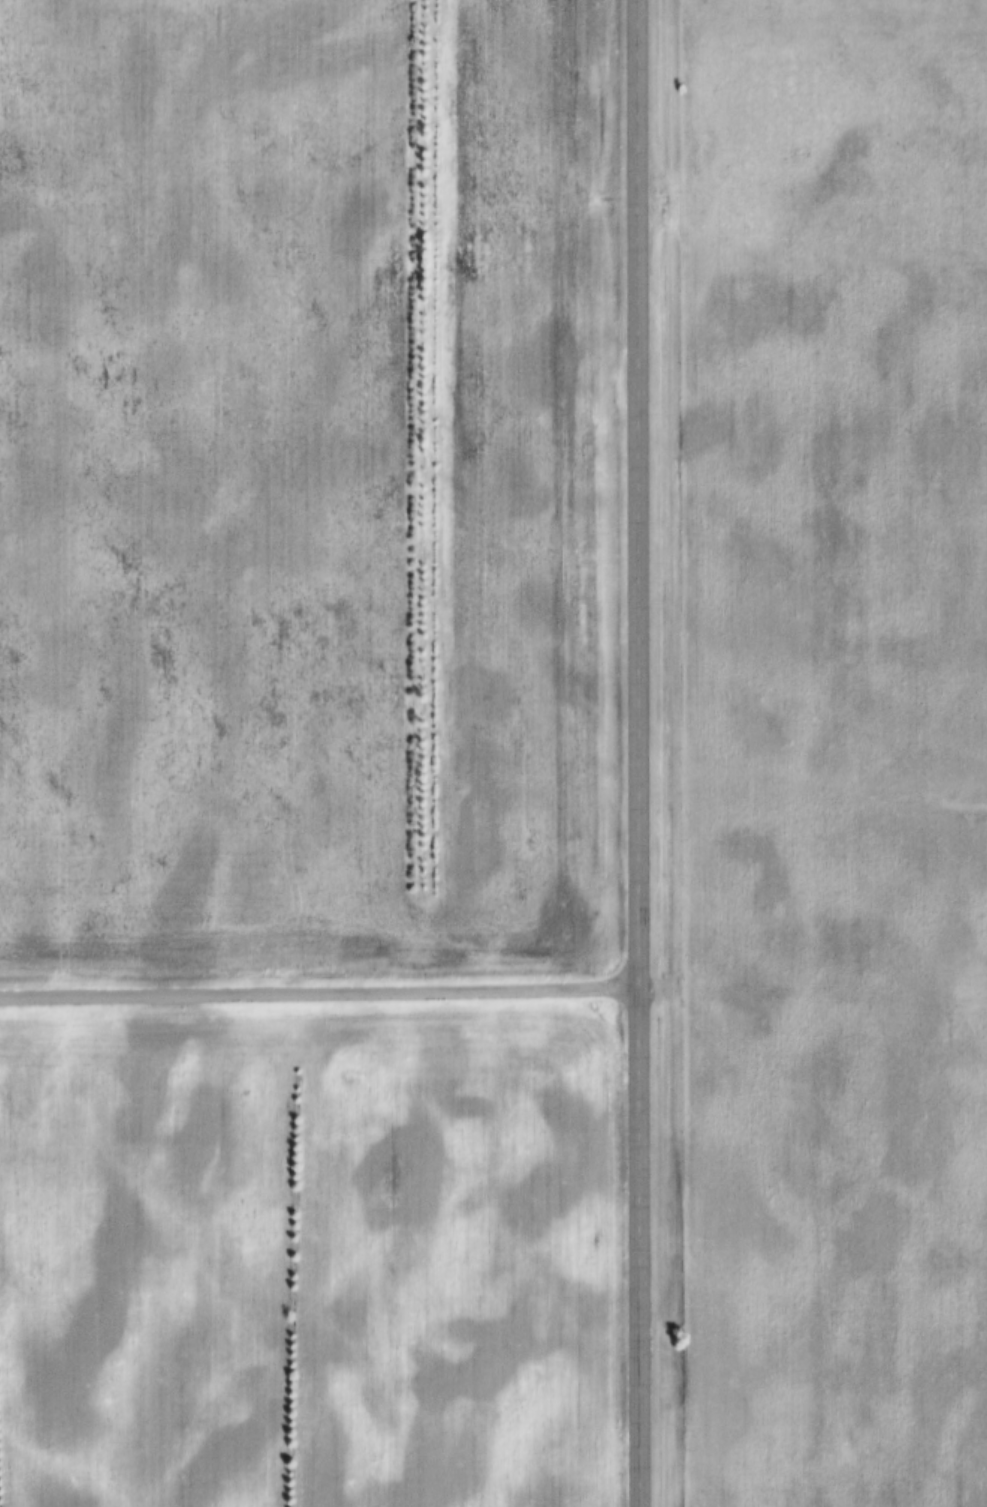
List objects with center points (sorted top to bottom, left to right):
road: (637, 753)
road: (319, 991)

